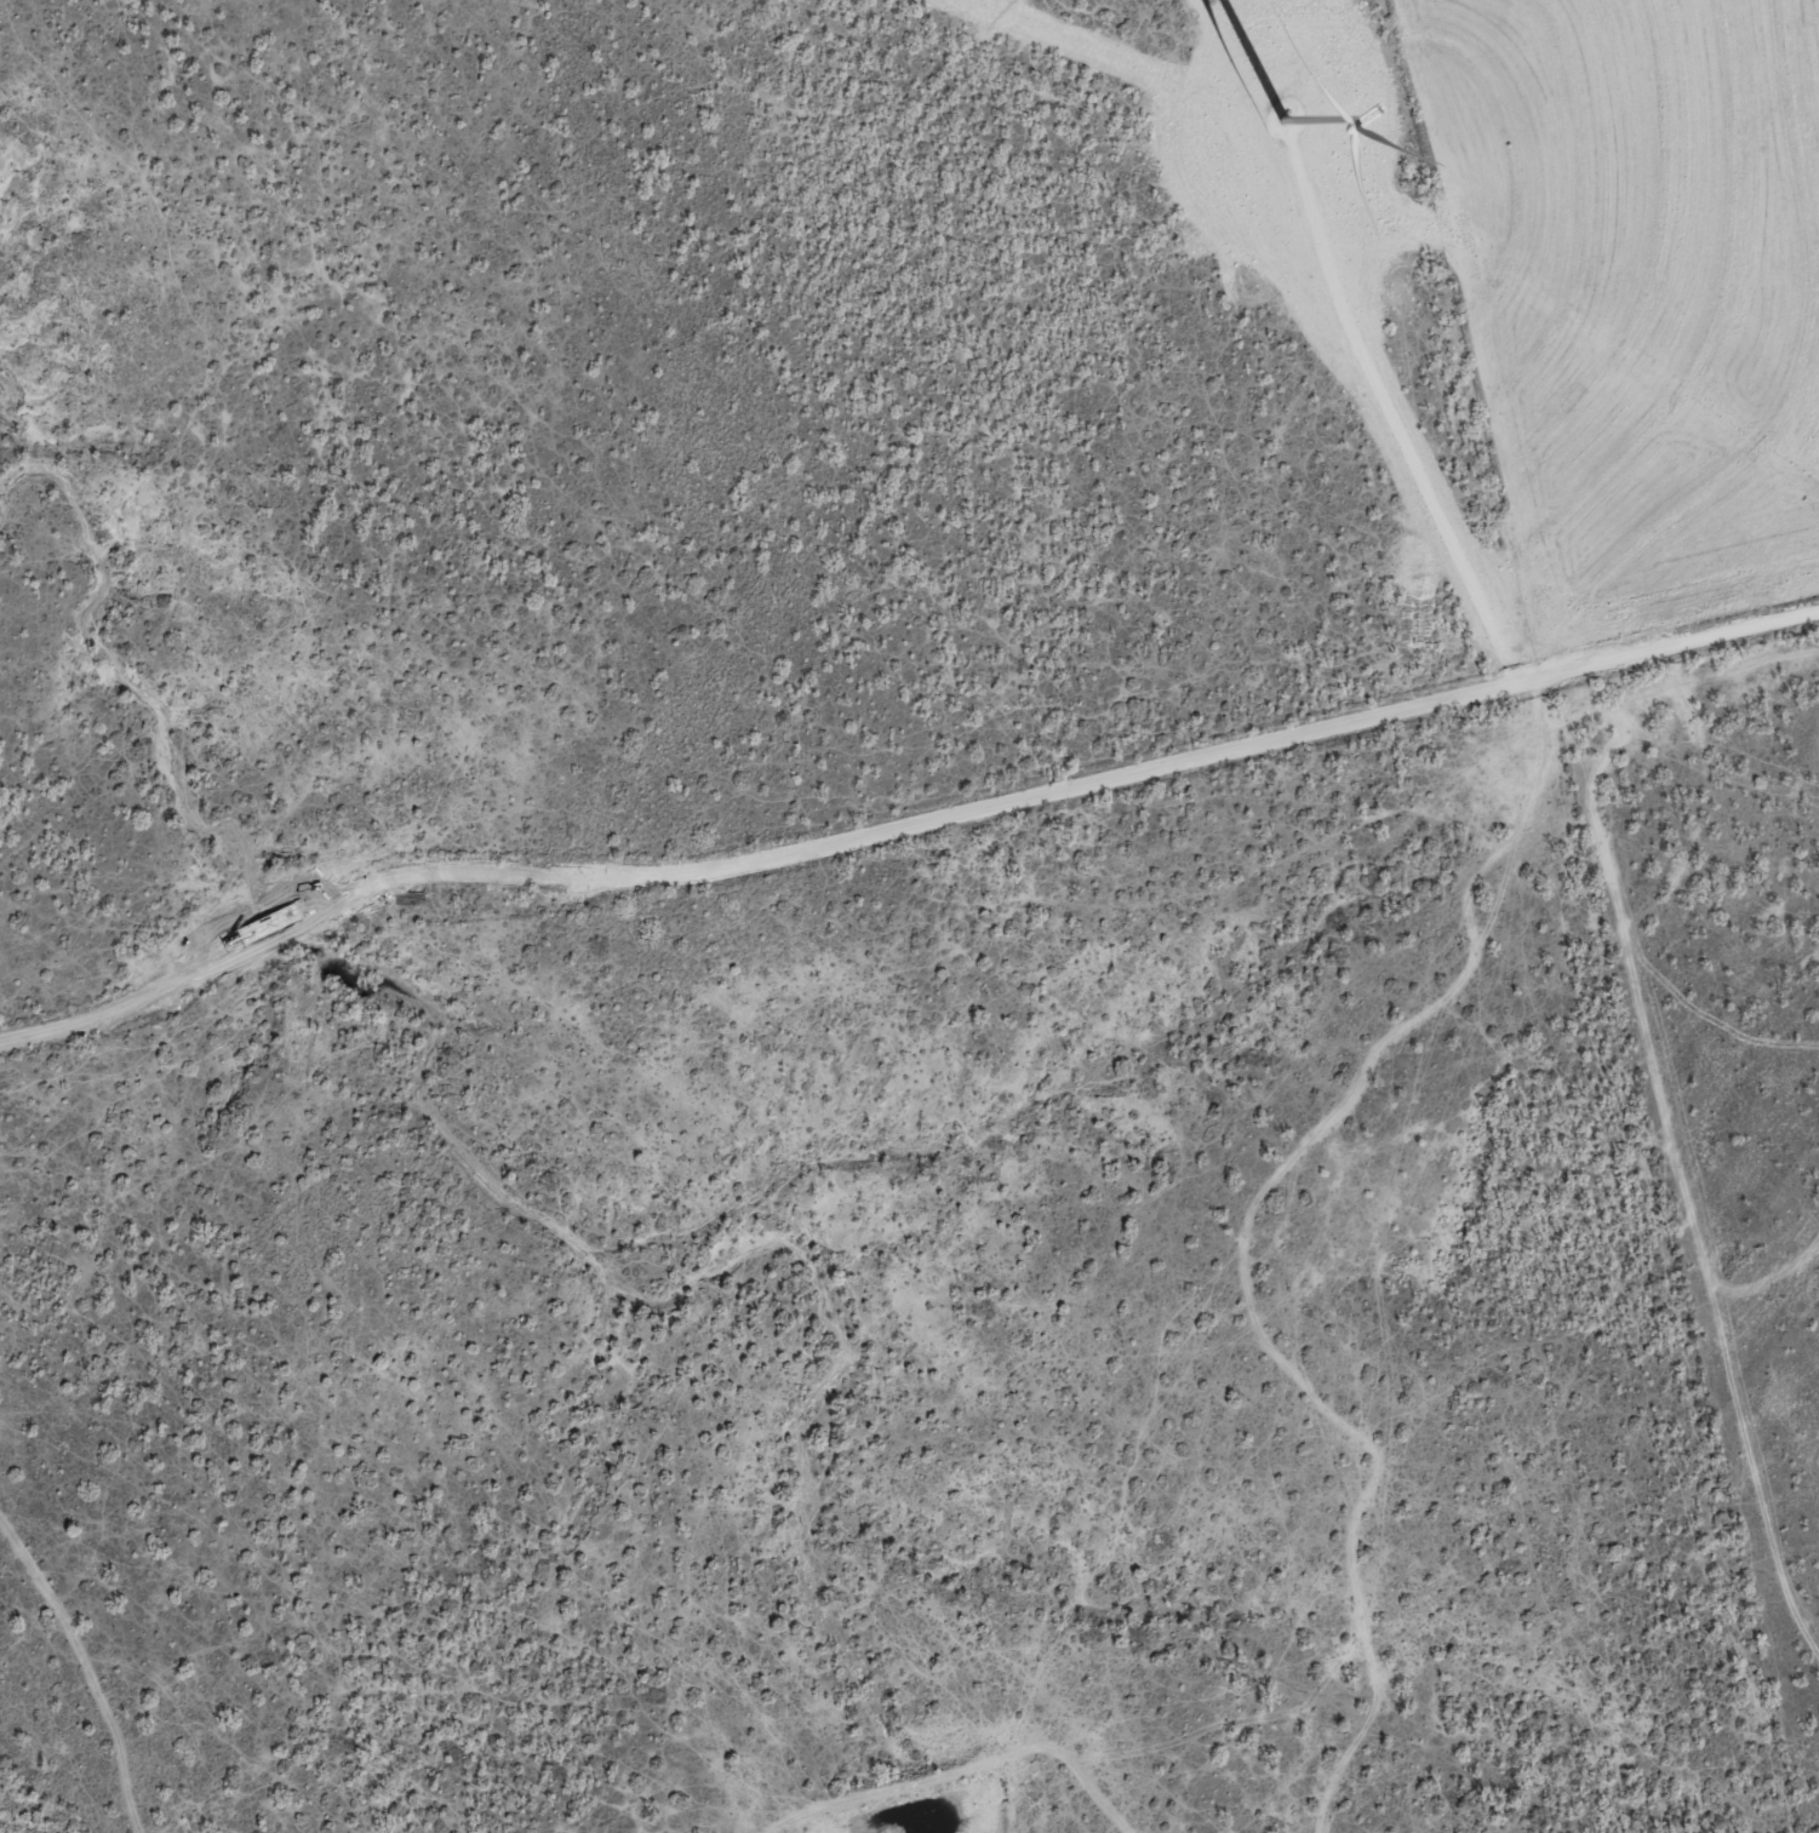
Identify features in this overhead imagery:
wind turbine: (1285, 120)
road: (1389, 419)
road: (896, 821)
road: (1543, 1260)
road: (143, 1680)

